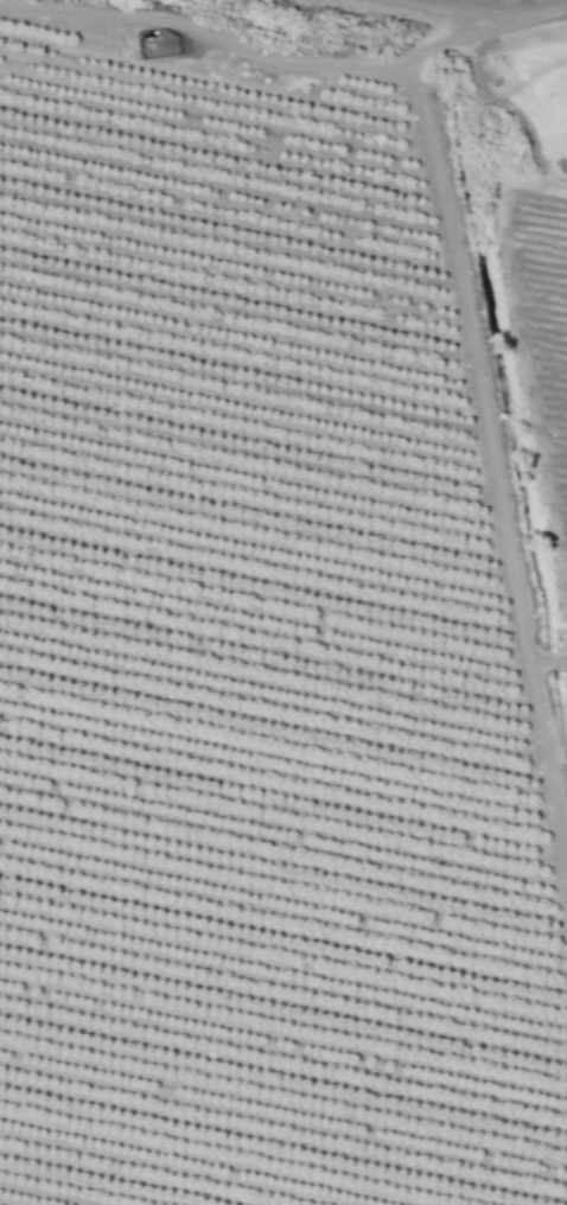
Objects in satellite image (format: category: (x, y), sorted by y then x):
road: (286, 59)

